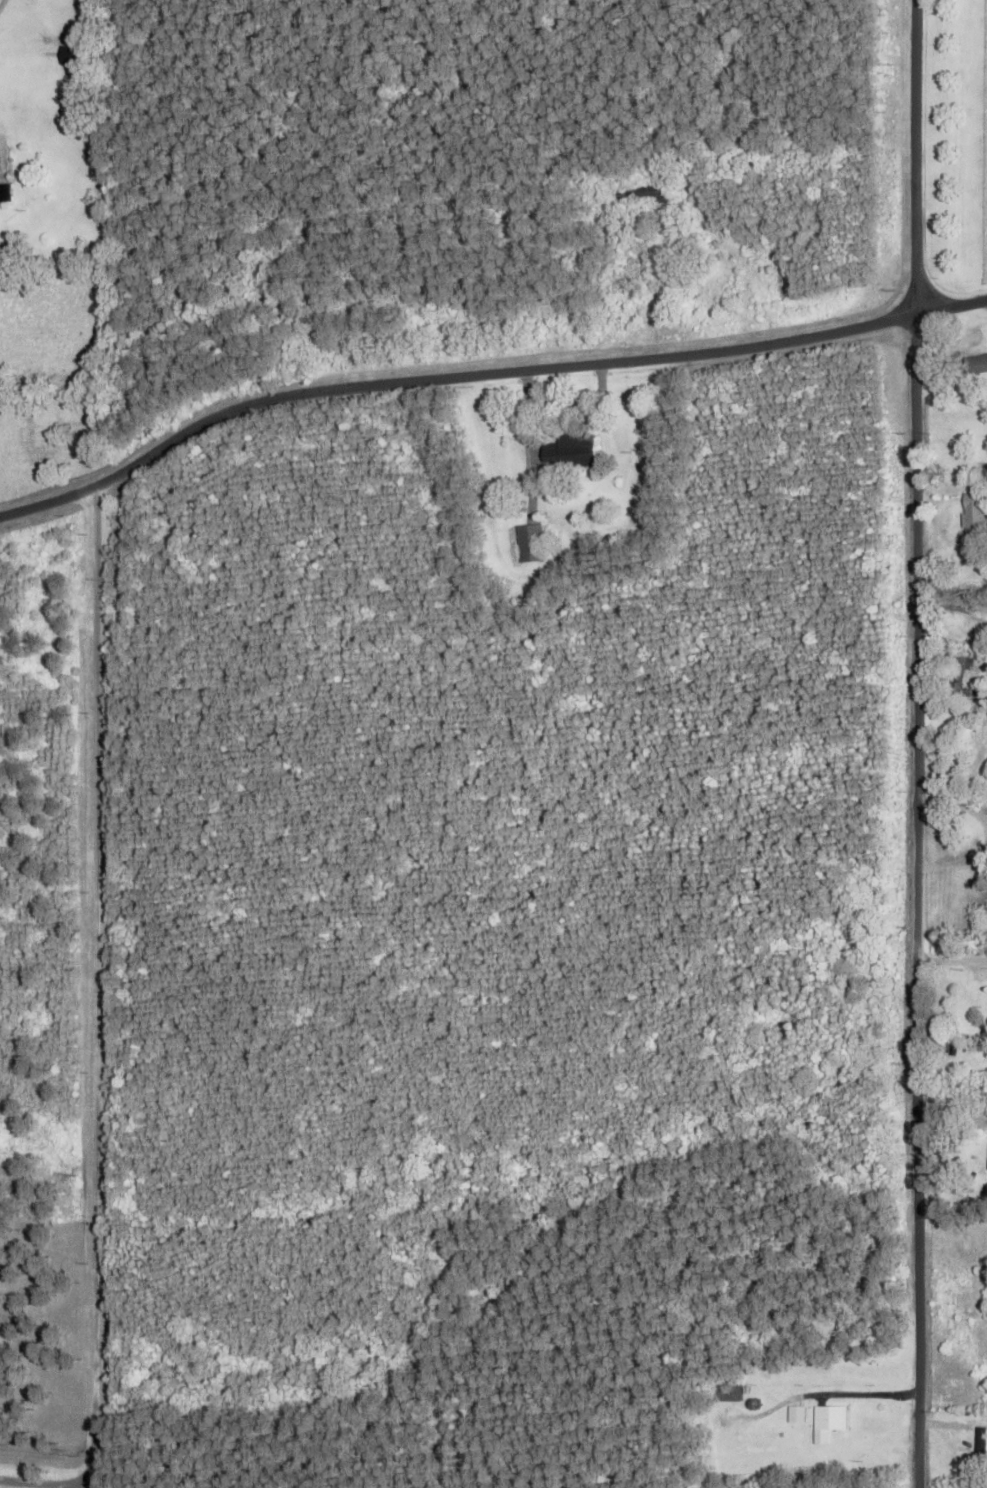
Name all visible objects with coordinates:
building: (70, 56)
building: (5, 194)
building: (641, 196)
building: (975, 366)
road: (482, 377)
building: (571, 451)
building: (973, 513)
building: (530, 544)
building: (955, 613)
building: (956, 678)
road: (917, 743)
building: (986, 928)
building: (725, 1394)
building: (796, 1415)
building: (828, 1423)
building: (981, 1442)

